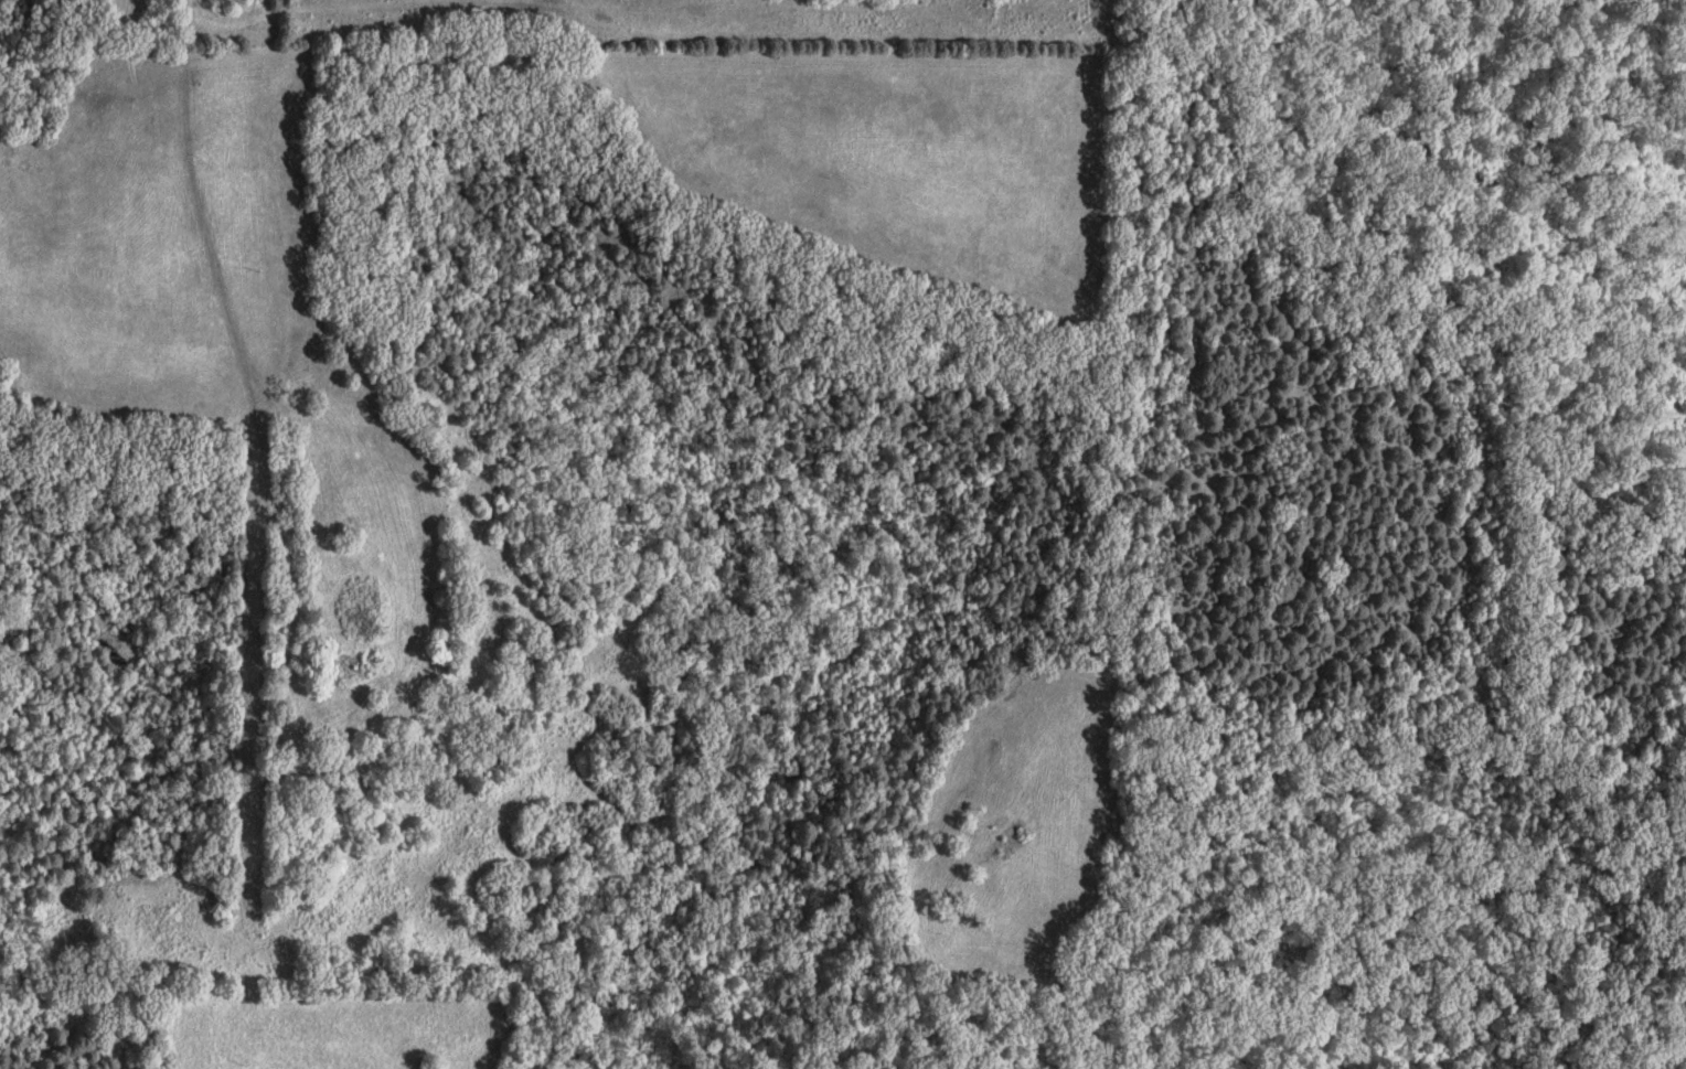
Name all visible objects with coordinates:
building: (350, 666)

